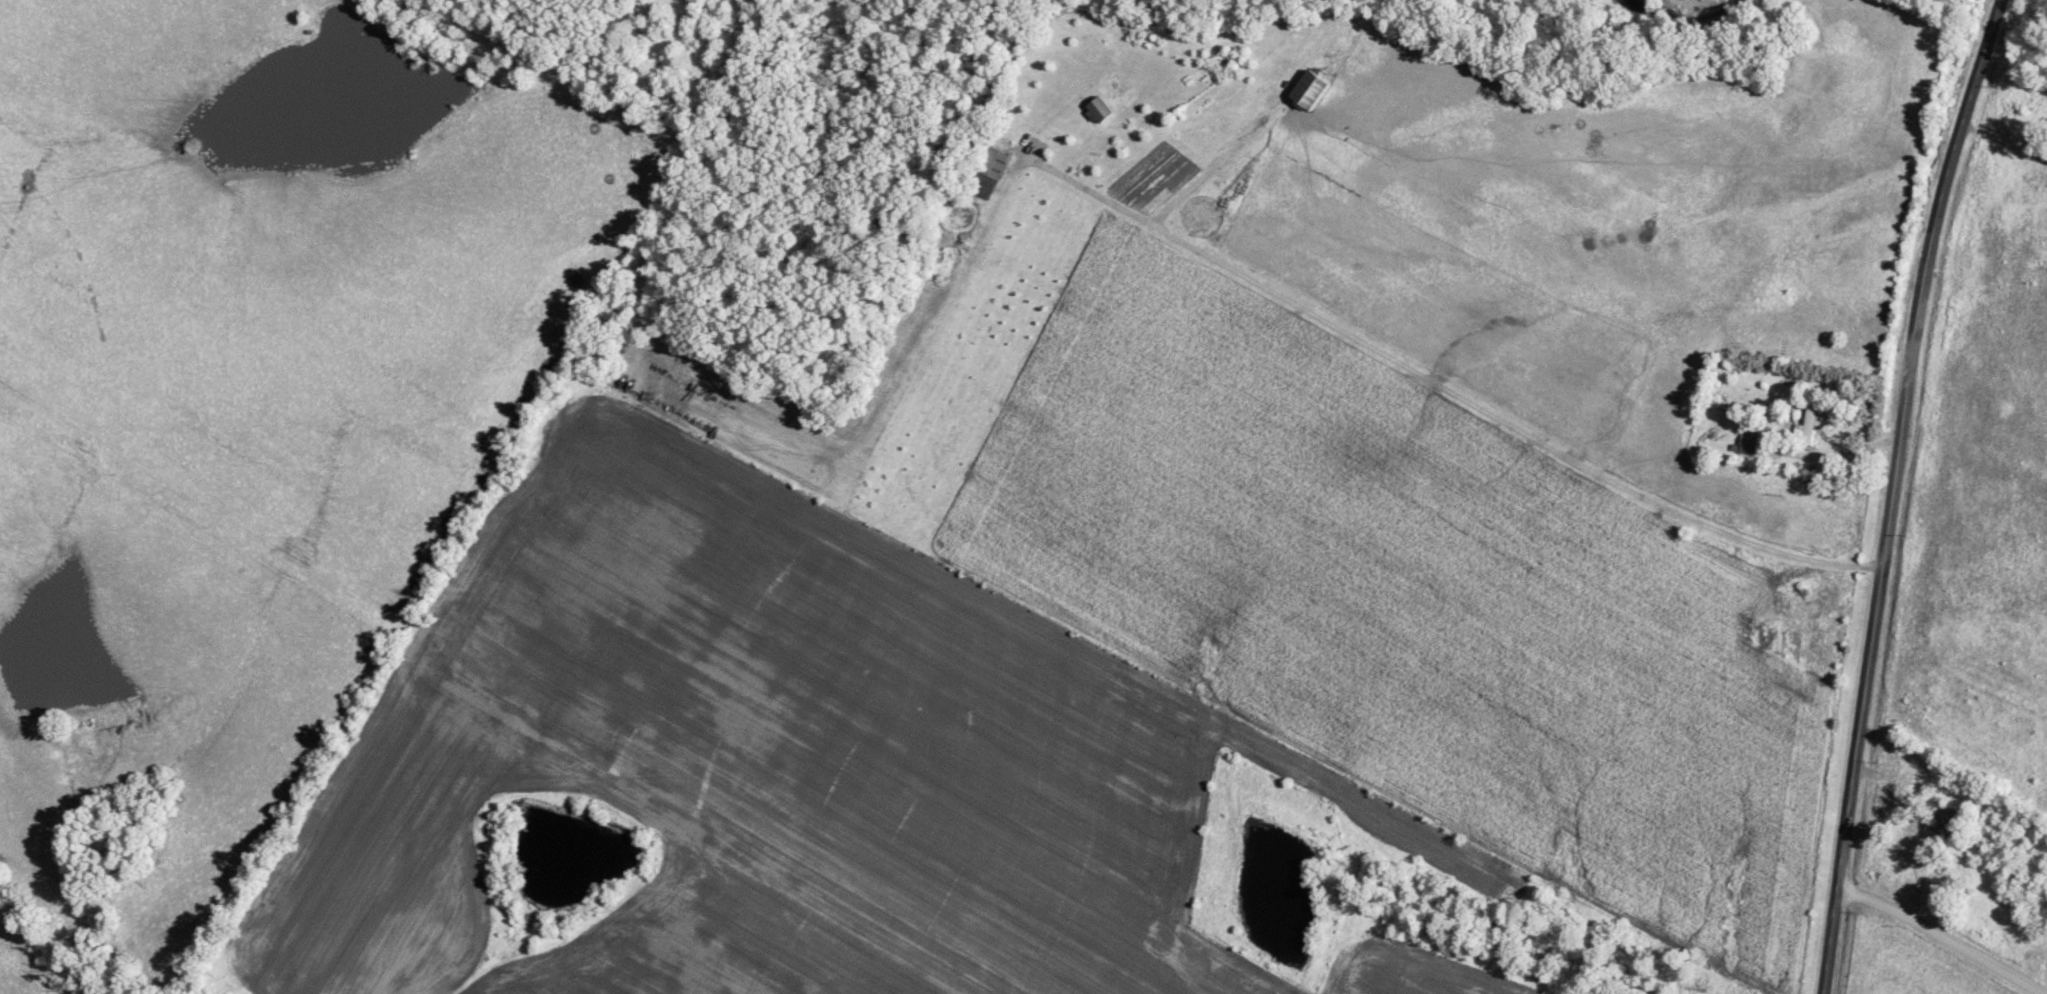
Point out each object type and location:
building: (1314, 89)
building: (1100, 110)
building: (991, 172)
building: (1811, 421)
building: (1750, 442)
road: (1831, 452)
road: (1892, 492)
park: (1996, 865)
road: (1943, 934)

